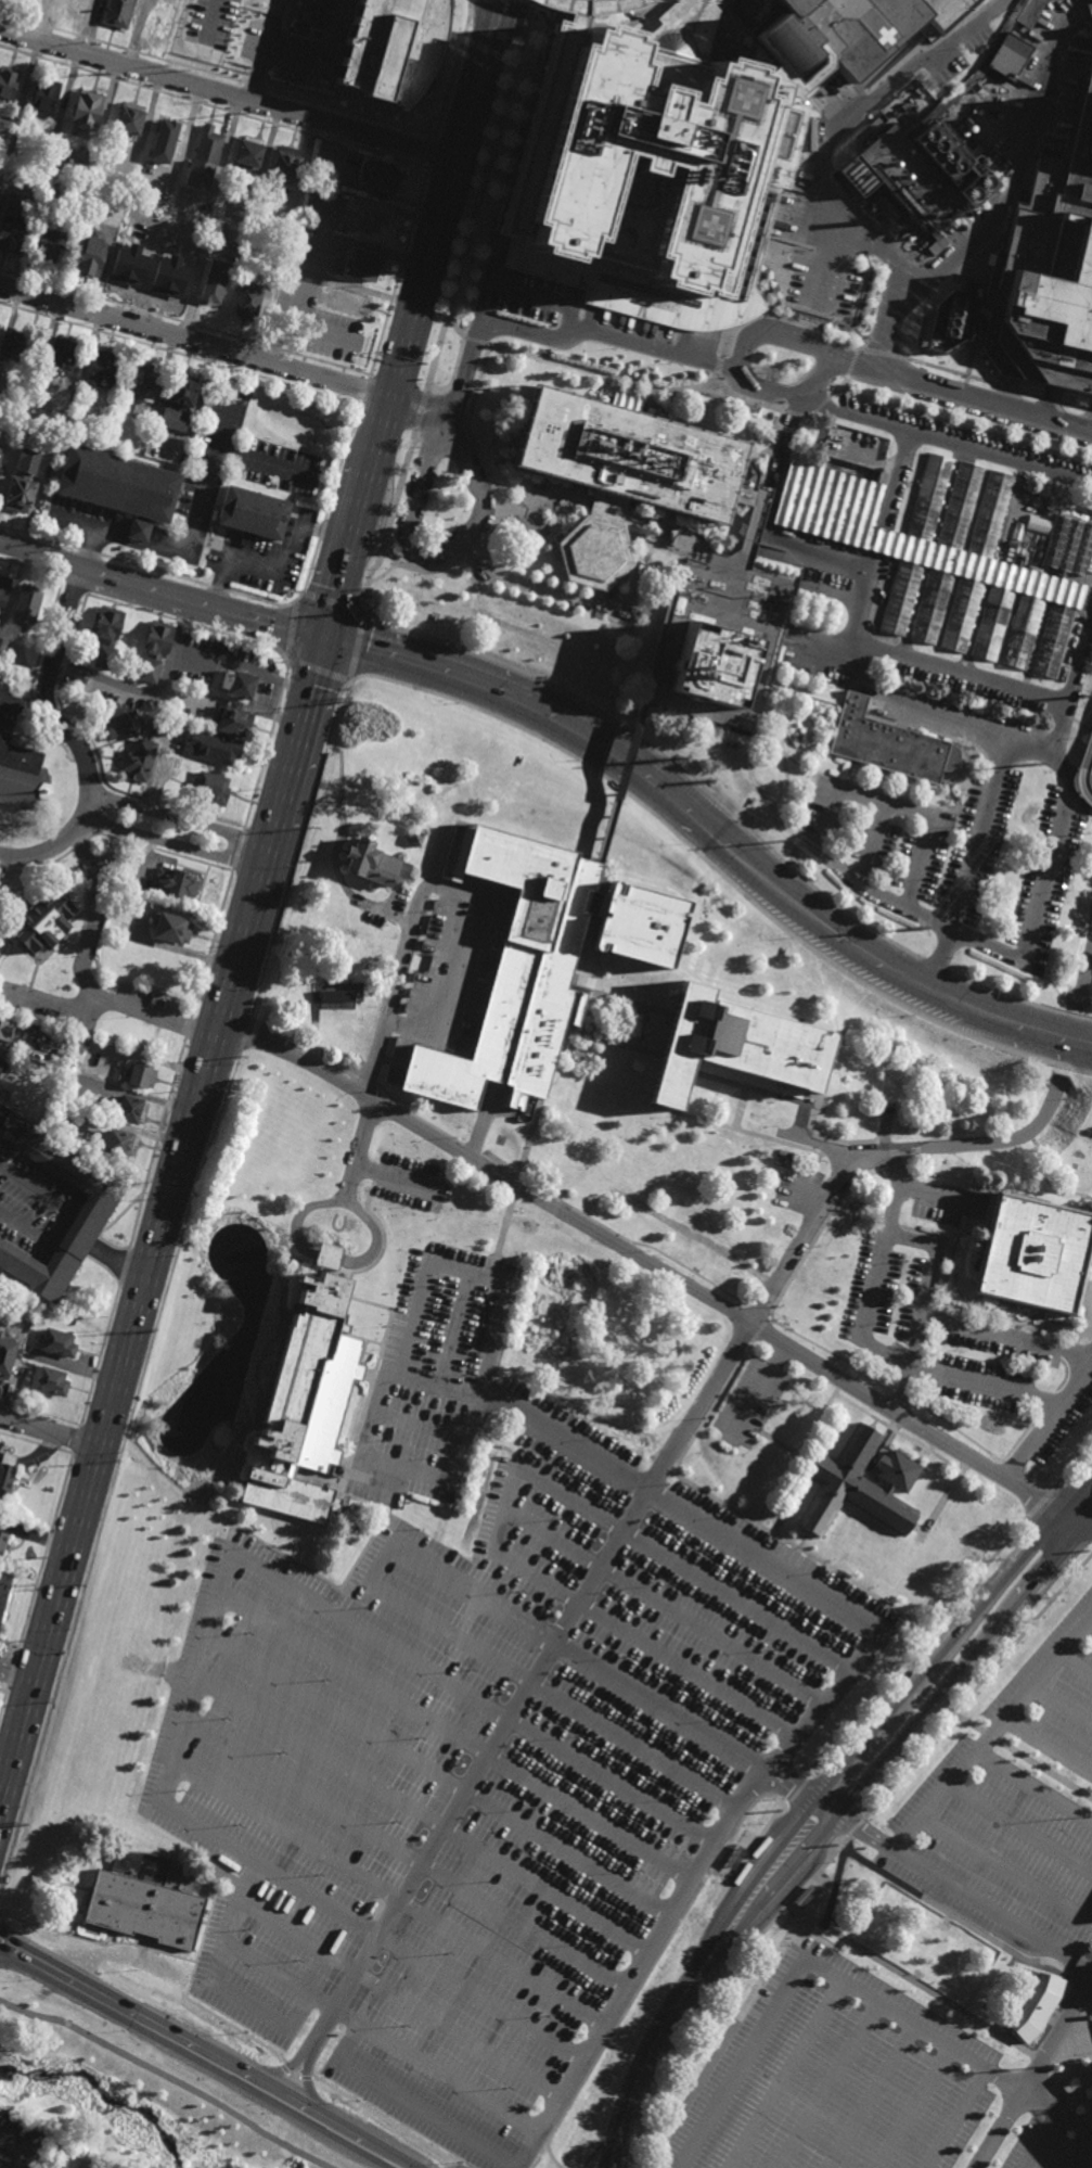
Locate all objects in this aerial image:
building: (35, 0)
building: (1061, 1)
building: (968, 2)
building: (78, 7)
road: (598, 8)
building: (584, 9)
building: (117, 13)
road: (213, 17)
building: (157, 18)
building: (846, 36)
road: (264, 50)
building: (388, 56)
road: (453, 69)
road: (217, 75)
building: (1090, 78)
road: (475, 80)
building: (7, 85)
road: (227, 94)
building: (43, 97)
helipad: (748, 106)
road: (215, 107)
building: (87, 110)
building: (129, 119)
road: (838, 124)
building: (164, 142)
building: (48, 146)
building: (246, 153)
road: (433, 155)
building: (940, 155)
building: (640, 157)
building: (203, 158)
building: (283, 165)
building: (380, 179)
building: (48, 202)
road: (1006, 205)
building: (163, 208)
road: (416, 211)
building: (111, 216)
building: (72, 220)
building: (12, 225)
building: (167, 242)
building: (50, 243)
building: (90, 255)
road: (837, 258)
road: (402, 260)
building: (362, 267)
road: (537, 267)
building: (128, 269)
building: (1049, 270)
road: (626, 276)
building: (165, 282)
building: (217, 283)
road: (531, 295)
road: (643, 297)
building: (246, 302)
building: (345, 303)
road: (450, 306)
road: (862, 313)
road: (783, 318)
road: (978, 318)
building: (948, 322)
road: (385, 323)
road: (184, 324)
road: (459, 332)
road: (464, 333)
road: (536, 337)
road: (863, 339)
road: (193, 340)
building: (18, 347)
road: (180, 354)
road: (884, 356)
building: (60, 359)
road: (855, 365)
road: (718, 367)
building: (102, 369)
road: (740, 373)
road: (952, 373)
road: (591, 374)
building: (139, 383)
road: (712, 383)
road: (843, 384)
road: (1007, 388)
road: (365, 392)
building: (78, 394)
road: (962, 395)
road: (1029, 395)
road: (387, 398)
road: (961, 398)
building: (178, 400)
road: (1051, 400)
road: (747, 401)
road: (821, 405)
road: (1074, 407)
road: (1089, 410)
road: (795, 413)
road: (811, 416)
road: (959, 419)
road: (958, 424)
road: (942, 444)
building: (0, 450)
road: (264, 462)
road: (339, 462)
building: (628, 476)
building: (22, 479)
road: (895, 483)
building: (118, 486)
road: (202, 493)
building: (929, 499)
road: (498, 502)
building: (960, 507)
building: (249, 515)
building: (990, 515)
road: (765, 518)
road: (320, 532)
road: (137, 534)
building: (850, 534)
road: (95, 536)
road: (38, 537)
road: (878, 541)
building: (1069, 548)
road: (88, 552)
road: (438, 553)
road: (30, 567)
road: (279, 570)
road: (154, 571)
road: (309, 573)
road: (74, 587)
building: (3, 588)
road: (162, 589)
road: (218, 589)
power tower: (369, 598)
building: (902, 599)
road: (260, 600)
road: (333, 601)
building: (25, 602)
building: (932, 607)
building: (963, 616)
road: (187, 624)
building: (993, 624)
road: (291, 627)
building: (1024, 633)
building: (105, 636)
traffic signals: (325, 637)
building: (1054, 642)
road: (357, 647)
building: (154, 649)
road: (801, 651)
road: (830, 652)
building: (5, 660)
building: (711, 663)
road: (244, 665)
road: (317, 671)
road: (961, 673)
building: (82, 683)
building: (236, 683)
road: (478, 683)
road: (1071, 686)
road: (643, 689)
road: (152, 691)
road: (886, 694)
power tower: (1084, 696)
road: (24, 702)
building: (231, 718)
building: (123, 724)
road: (72, 738)
road: (268, 740)
building: (886, 743)
building: (213, 747)
road: (659, 753)
road: (626, 757)
building: (138, 758)
road: (781, 758)
building: (625, 760)
power tower: (678, 760)
road: (795, 764)
power tower: (1036, 765)
road: (1062, 768)
road: (1082, 775)
building: (21, 776)
building: (210, 787)
road: (950, 791)
road: (937, 807)
road: (900, 808)
road: (180, 821)
power tower: (314, 830)
road: (977, 833)
building: (414, 839)
power tower: (786, 842)
road: (172, 844)
road: (873, 844)
road: (239, 850)
road: (297, 850)
parking lot: (950, 862)
building: (373, 864)
road: (1051, 870)
road: (718, 873)
building: (176, 883)
road: (445, 891)
road: (879, 894)
road: (256, 895)
road: (390, 896)
road: (354, 897)
building: (43, 922)
power tower: (921, 927)
building: (170, 928)
power tower: (283, 935)
road: (839, 935)
road: (210, 945)
road: (987, 947)
road: (941, 960)
building: (538, 962)
road: (935, 967)
road: (82, 977)
road: (1084, 977)
road: (586, 991)
building: (338, 997)
road: (1020, 1002)
road: (647, 1008)
road: (578, 1011)
road: (660, 1011)
road: (188, 1029)
building: (5, 1031)
road: (578, 1033)
road: (245, 1035)
building: (78, 1045)
road: (303, 1049)
building: (737, 1049)
road: (650, 1051)
road: (579, 1055)
power tower: (247, 1060)
building: (2, 1066)
building: (139, 1075)
road: (368, 1081)
building: (4, 1093)
road: (788, 1100)
road: (653, 1106)
road: (737, 1108)
building: (130, 1111)
road: (480, 1127)
road: (3, 1130)
road: (755, 1135)
road: (1022, 1136)
road: (776, 1139)
road: (834, 1139)
building: (118, 1144)
road: (155, 1145)
road: (819, 1148)
road: (396, 1179)
road: (521, 1182)
road: (806, 1189)
power tower: (200, 1198)
road: (823, 1198)
road: (344, 1199)
road: (936, 1200)
road: (31, 1210)
building: (92, 1213)
road: (375, 1239)
building: (1035, 1251)
parking garage: (1035, 1251)
road: (327, 1255)
road: (644, 1260)
road: (117, 1262)
road: (124, 1268)
road: (494, 1271)
road: (881, 1271)
road: (714, 1286)
building: (25, 1299)
road: (924, 1309)
road: (457, 1329)
road: (1004, 1336)
power tower: (156, 1338)
building: (59, 1342)
building: (8, 1352)
road: (99, 1356)
building: (24, 1367)
road: (483, 1375)
building: (50, 1380)
road: (984, 1386)
road: (756, 1391)
building: (308, 1395)
road: (1046, 1404)
road: (1046, 1413)
road: (523, 1417)
road: (420, 1429)
road: (49, 1431)
road: (898, 1433)
road: (75, 1440)
road: (775, 1449)
road: (794, 1464)
power tower: (121, 1467)
road: (116, 1468)
road: (90, 1472)
building: (7, 1474)
building: (860, 1483)
road: (61, 1494)
road: (714, 1500)
road: (943, 1501)
road: (1078, 1515)
road: (599, 1516)
road: (774, 1534)
road: (48, 1542)
building: (3, 1544)
road: (796, 1552)
road: (844, 1581)
building: (4, 1590)
power tower: (88, 1590)
road: (30, 1603)
road: (658, 1603)
road: (839, 1608)
road: (953, 1608)
road: (203, 1621)
road: (1090, 1621)
road: (952, 1638)
road: (1077, 1661)
road: (588, 1663)
road: (690, 1667)
road: (16, 1671)
road: (11, 1672)
road: (963, 1673)
road: (529, 1687)
road: (552, 1696)
road: (3, 1699)
road: (1062, 1704)
power tower: (55, 1708)
road: (990, 1730)
road: (454, 1732)
road: (1048, 1743)
road: (925, 1747)
parking lot: (511, 1752)
road: (435, 1774)
road: (1033, 1782)
road: (419, 1813)
parking lot: (1012, 1819)
road: (1018, 1825)
power tower: (21, 1826)
road: (400, 1852)
road: (250, 1857)
road: (1006, 1864)
road: (817, 1874)
road: (960, 1889)
power tower: (1, 1897)
building: (147, 1898)
road: (206, 1926)
road: (297, 1938)
road: (661, 1953)
road: (708, 1961)
road: (267, 1969)
road: (223, 1990)
road: (478, 1998)
road: (104, 1999)
building: (1037, 2006)
road: (226, 2019)
road: (684, 2025)
road: (457, 2033)
road: (943, 2040)
road: (583, 2052)
road: (743, 2062)
road: (284, 2068)
road: (1036, 2074)
road: (789, 2075)
road: (168, 2076)
road: (306, 2082)
road: (828, 2084)
road: (871, 2095)
parking lot: (887, 2100)
road: (913, 2106)
road: (314, 2108)
road: (423, 2112)
road: (297, 2115)
building: (0, 2116)
road: (955, 2117)
road: (605, 2139)
road: (627, 2139)
road: (1042, 2140)
road: (611, 2148)
road: (617, 2148)
road: (17, 2151)
road: (1084, 2156)

